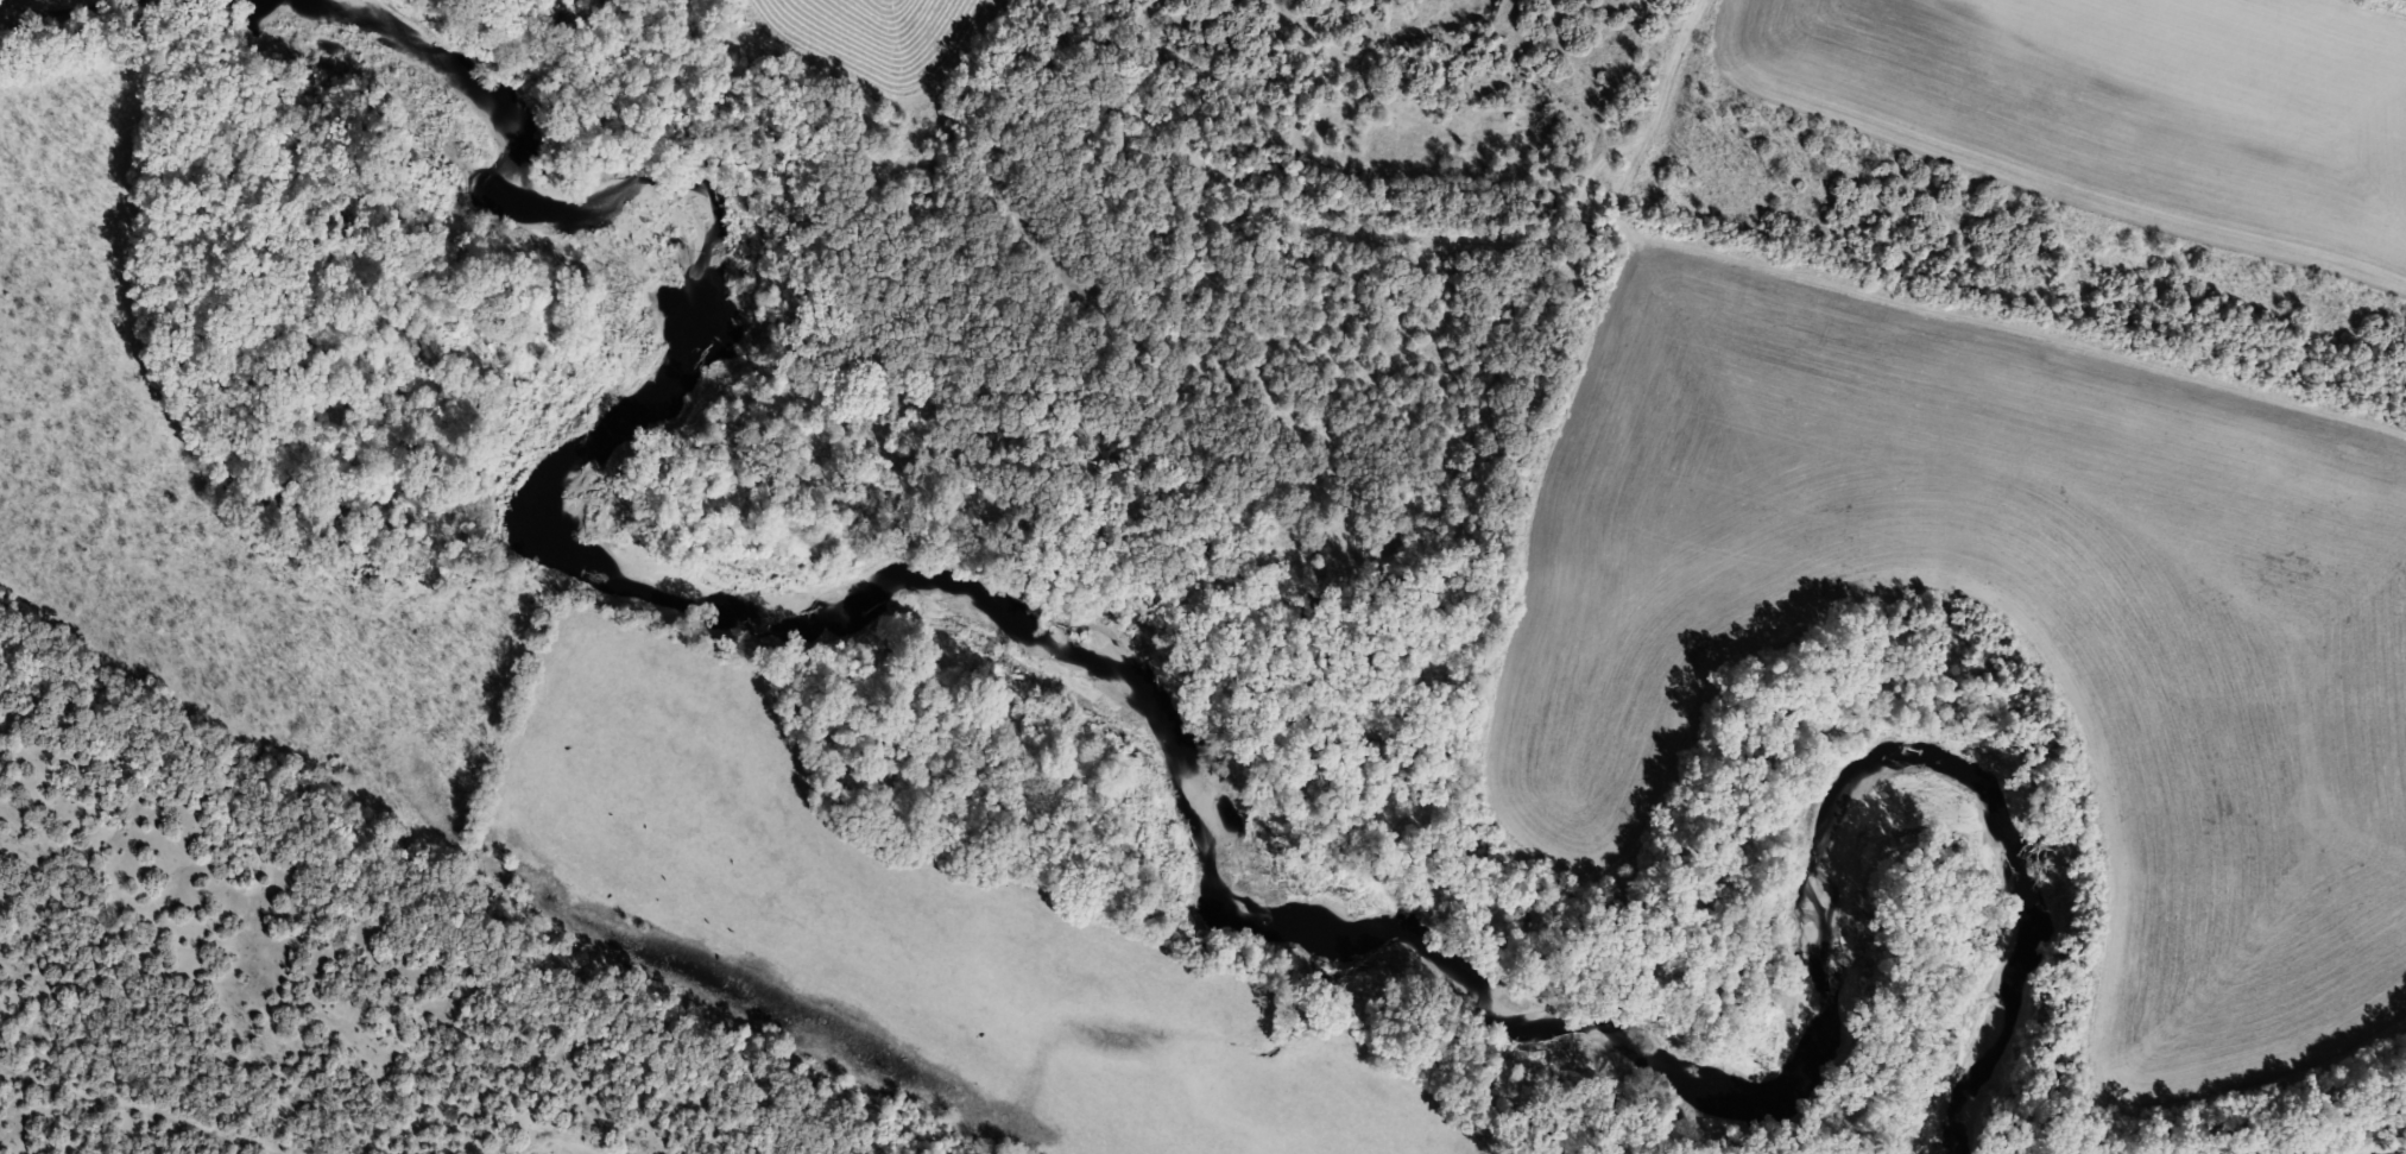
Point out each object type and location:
river: (1147, 775)

